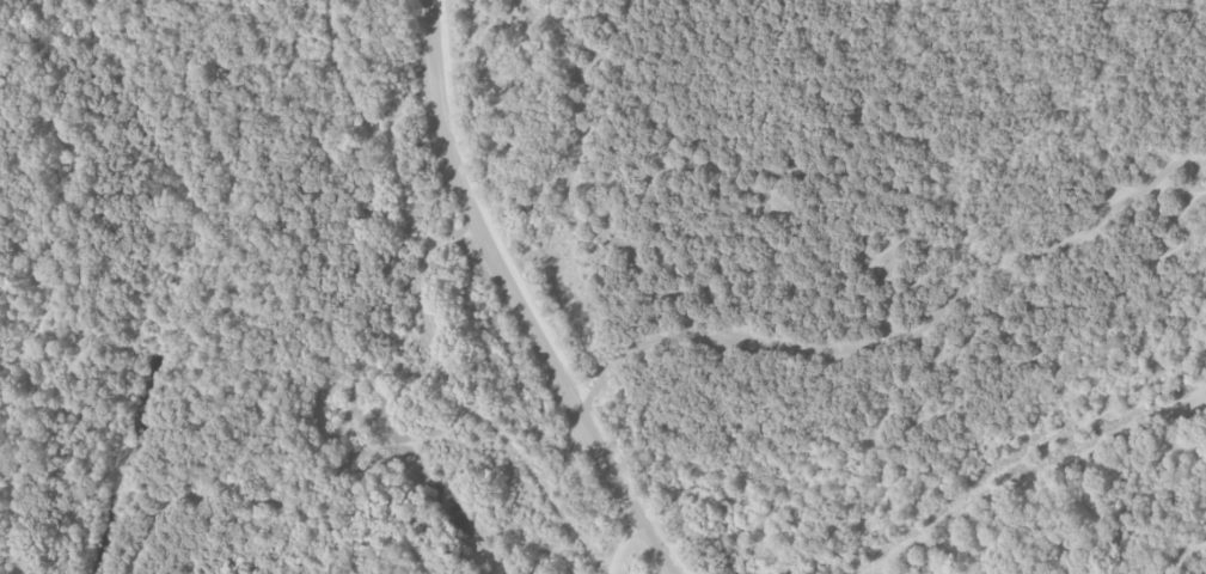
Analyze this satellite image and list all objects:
road: (326, 6)
road: (306, 23)
road: (391, 68)
road: (8, 148)
road: (483, 209)
road: (473, 216)
road: (907, 222)
road: (458, 237)
road: (74, 240)
road: (212, 295)
road: (904, 337)
park: (531, 343)
road: (17, 433)
road: (374, 448)
road: (105, 459)
road: (626, 494)
road: (171, 496)
road: (8, 525)
road: (145, 542)
road: (619, 543)
road: (1183, 554)

